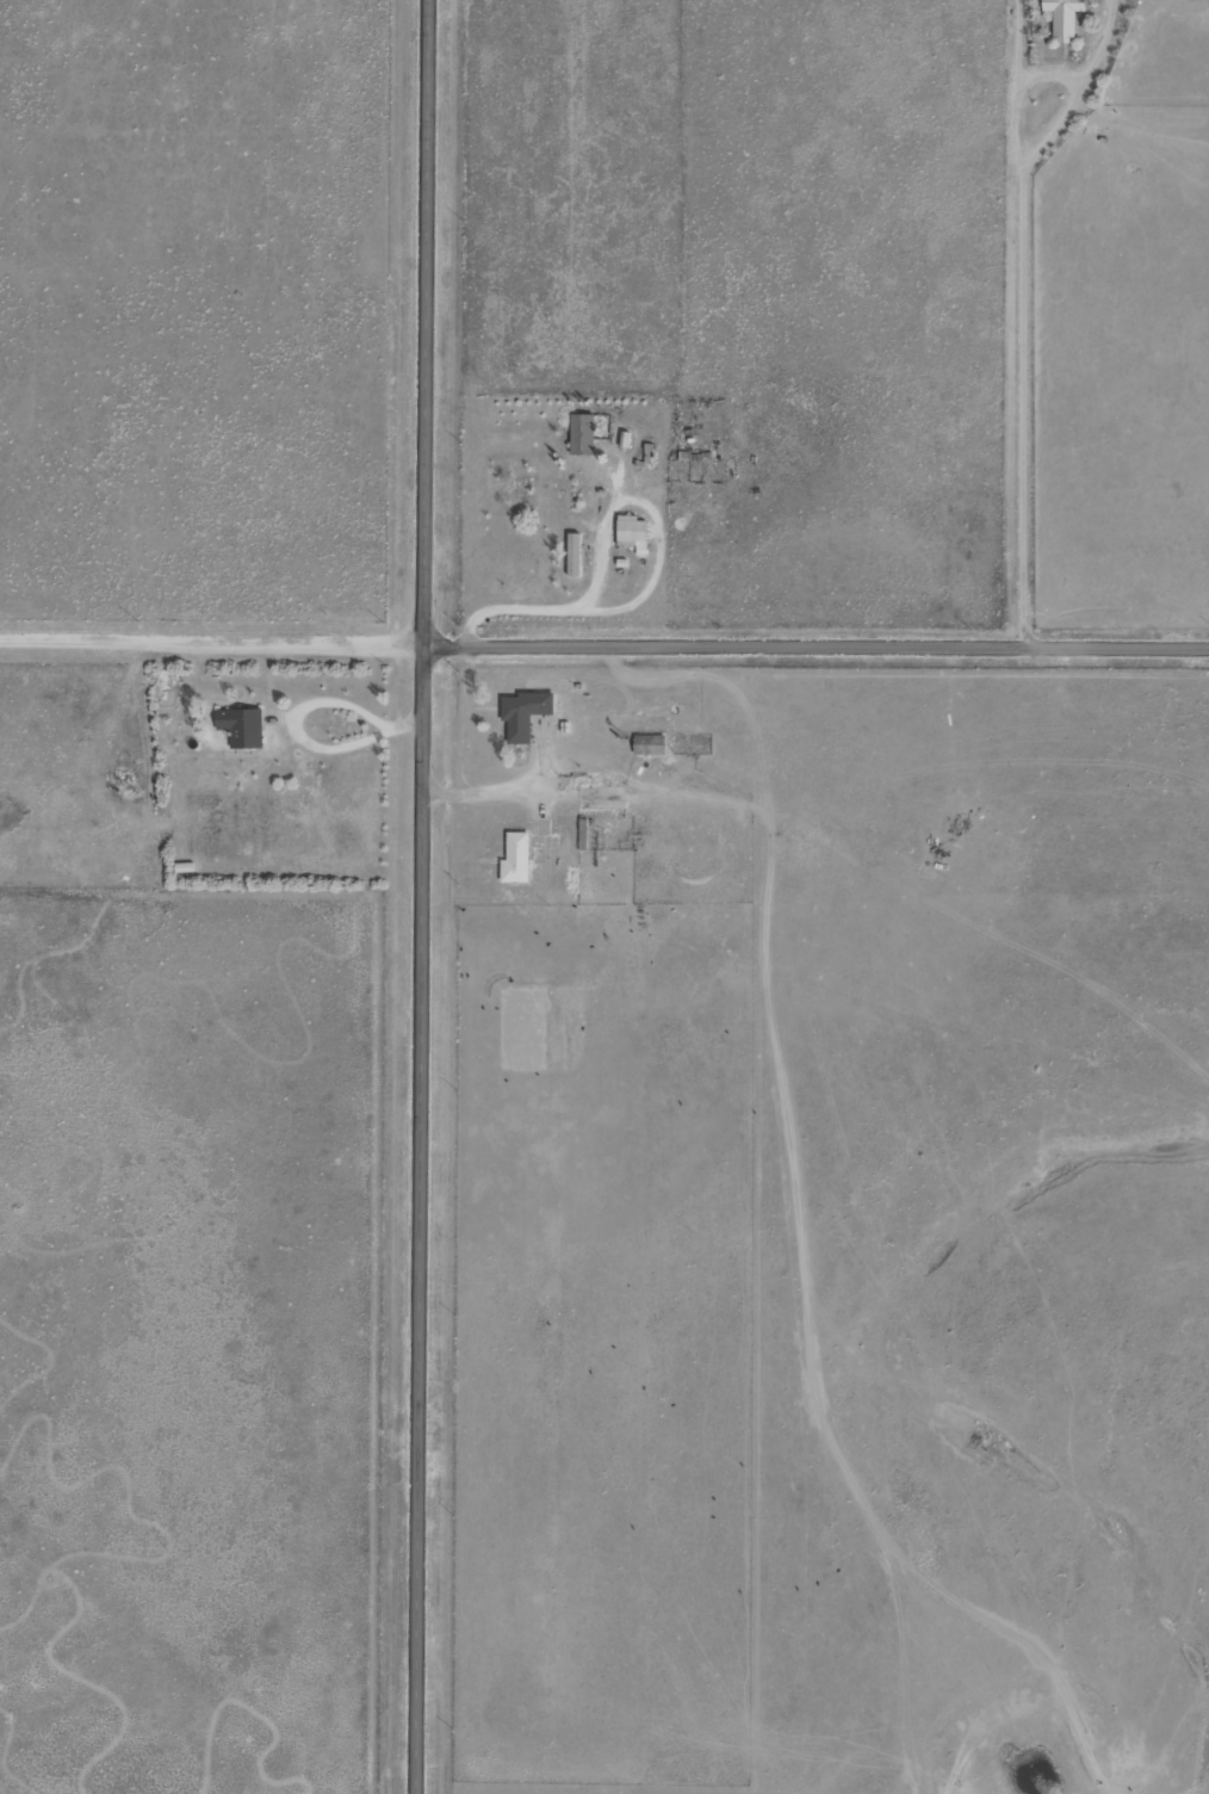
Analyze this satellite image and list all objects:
building: (1064, 18)
building: (582, 434)
building: (633, 532)
building: (573, 555)
road: (603, 641)
building: (523, 714)
building: (241, 726)
building: (602, 803)
building: (516, 859)
road: (420, 896)

